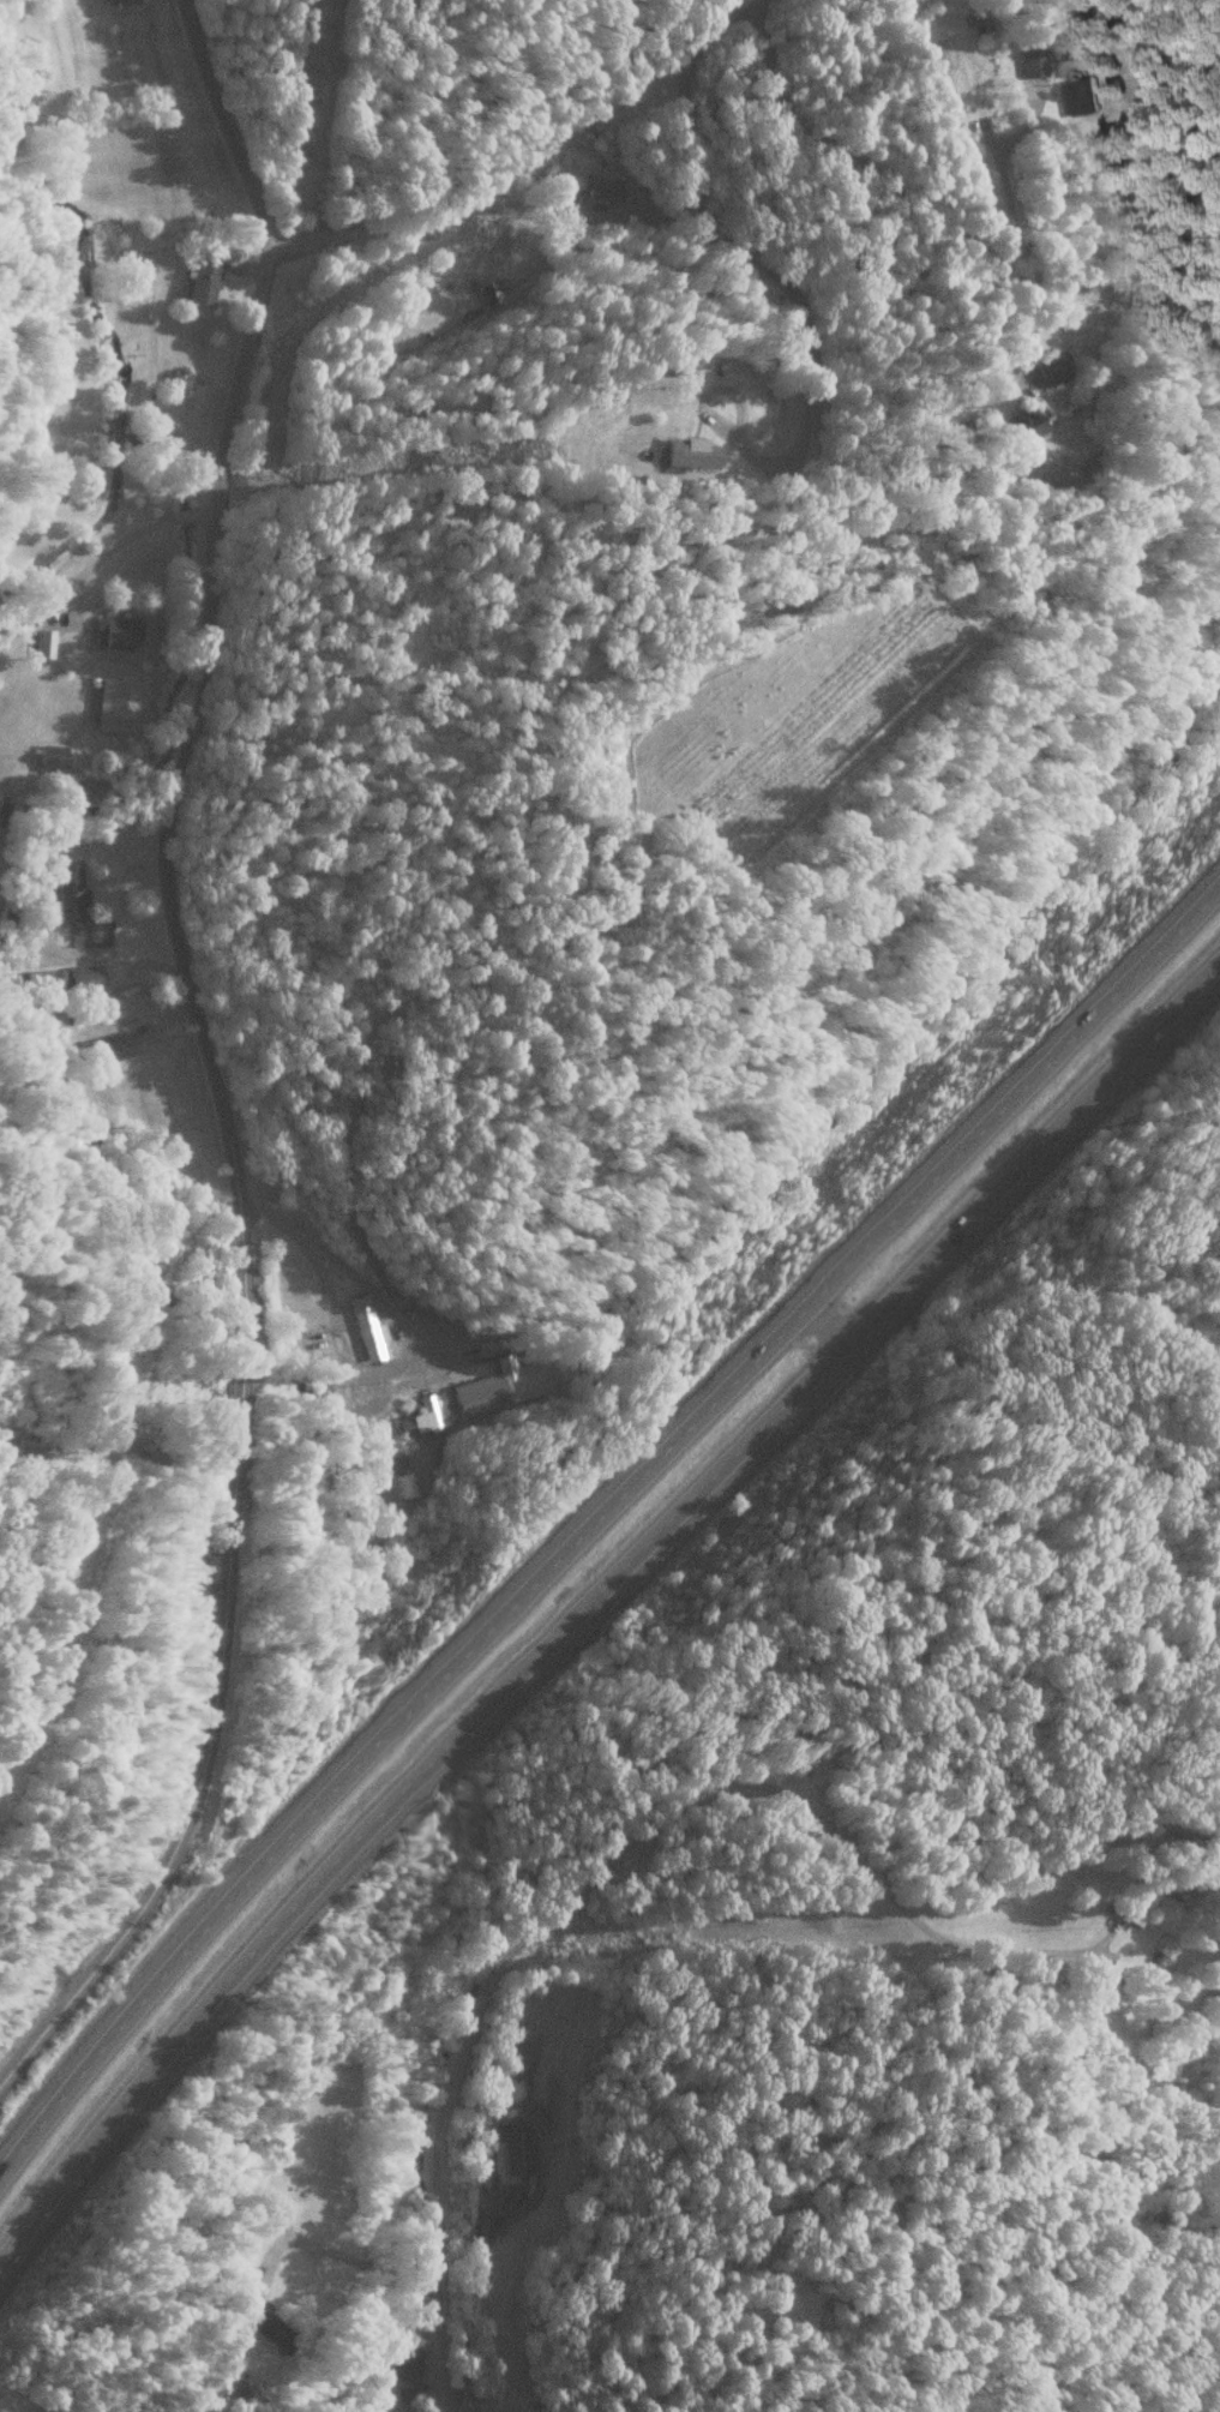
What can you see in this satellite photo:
building: (118, 1)
building: (1030, 61)
building: (1080, 96)
road: (224, 119)
building: (602, 187)
road: (579, 198)
building: (202, 281)
building: (1051, 367)
building: (173, 382)
road: (239, 391)
building: (1015, 425)
building: (685, 456)
road: (121, 535)
building: (115, 630)
building: (42, 642)
building: (52, 756)
building: (66, 888)
building: (62, 979)
building: (112, 1045)
road: (335, 1308)
building: (366, 1325)
road: (241, 1338)
building: (423, 1414)
road: (595, 1501)
road: (600, 1603)
building: (1144, 1900)
building: (525, 2045)
building: (513, 2158)
building: (271, 2329)
road: (443, 2358)
building: (405, 2362)
building: (245, 2388)

